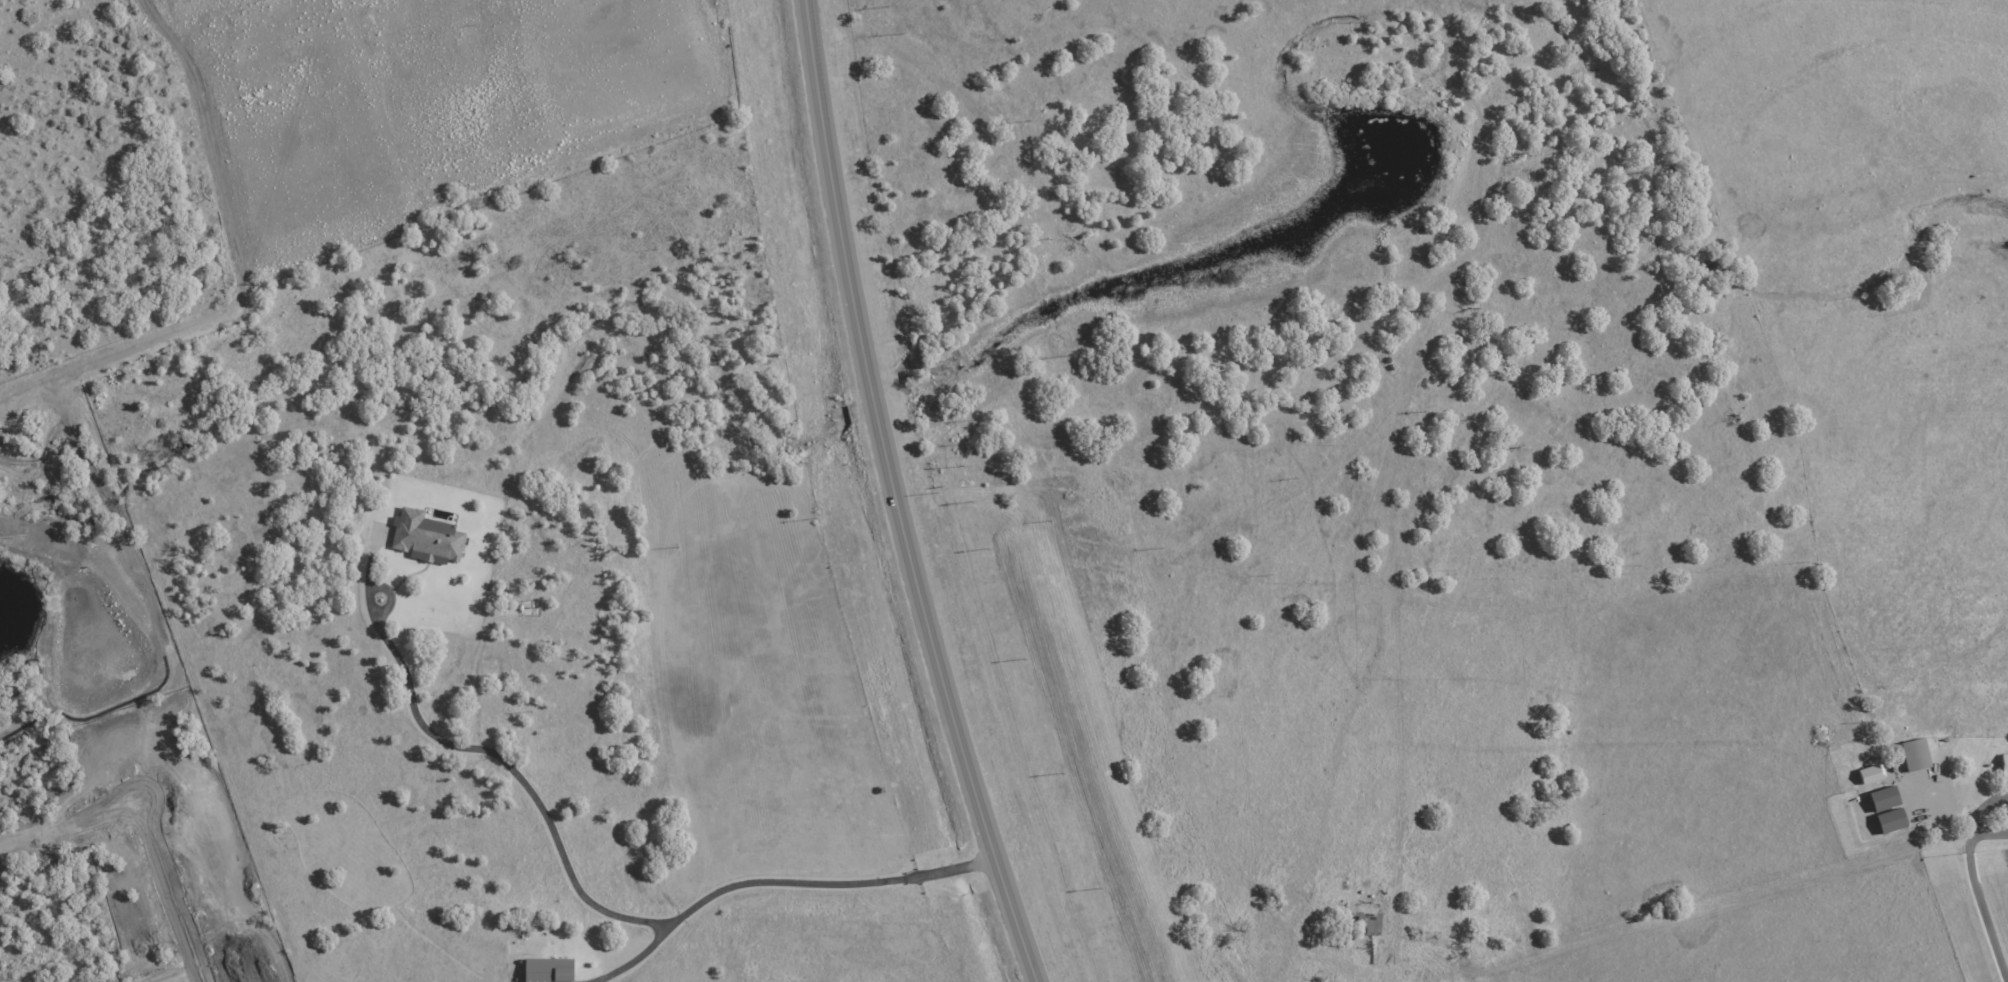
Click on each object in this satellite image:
road: (898, 497)
building: (427, 537)
building: (1915, 755)
building: (2004, 765)
building: (1884, 798)
road: (160, 810)
building: (1891, 821)
road: (1979, 900)
road: (600, 907)
building: (1369, 915)
road: (639, 958)
road: (163, 966)
building: (549, 970)

